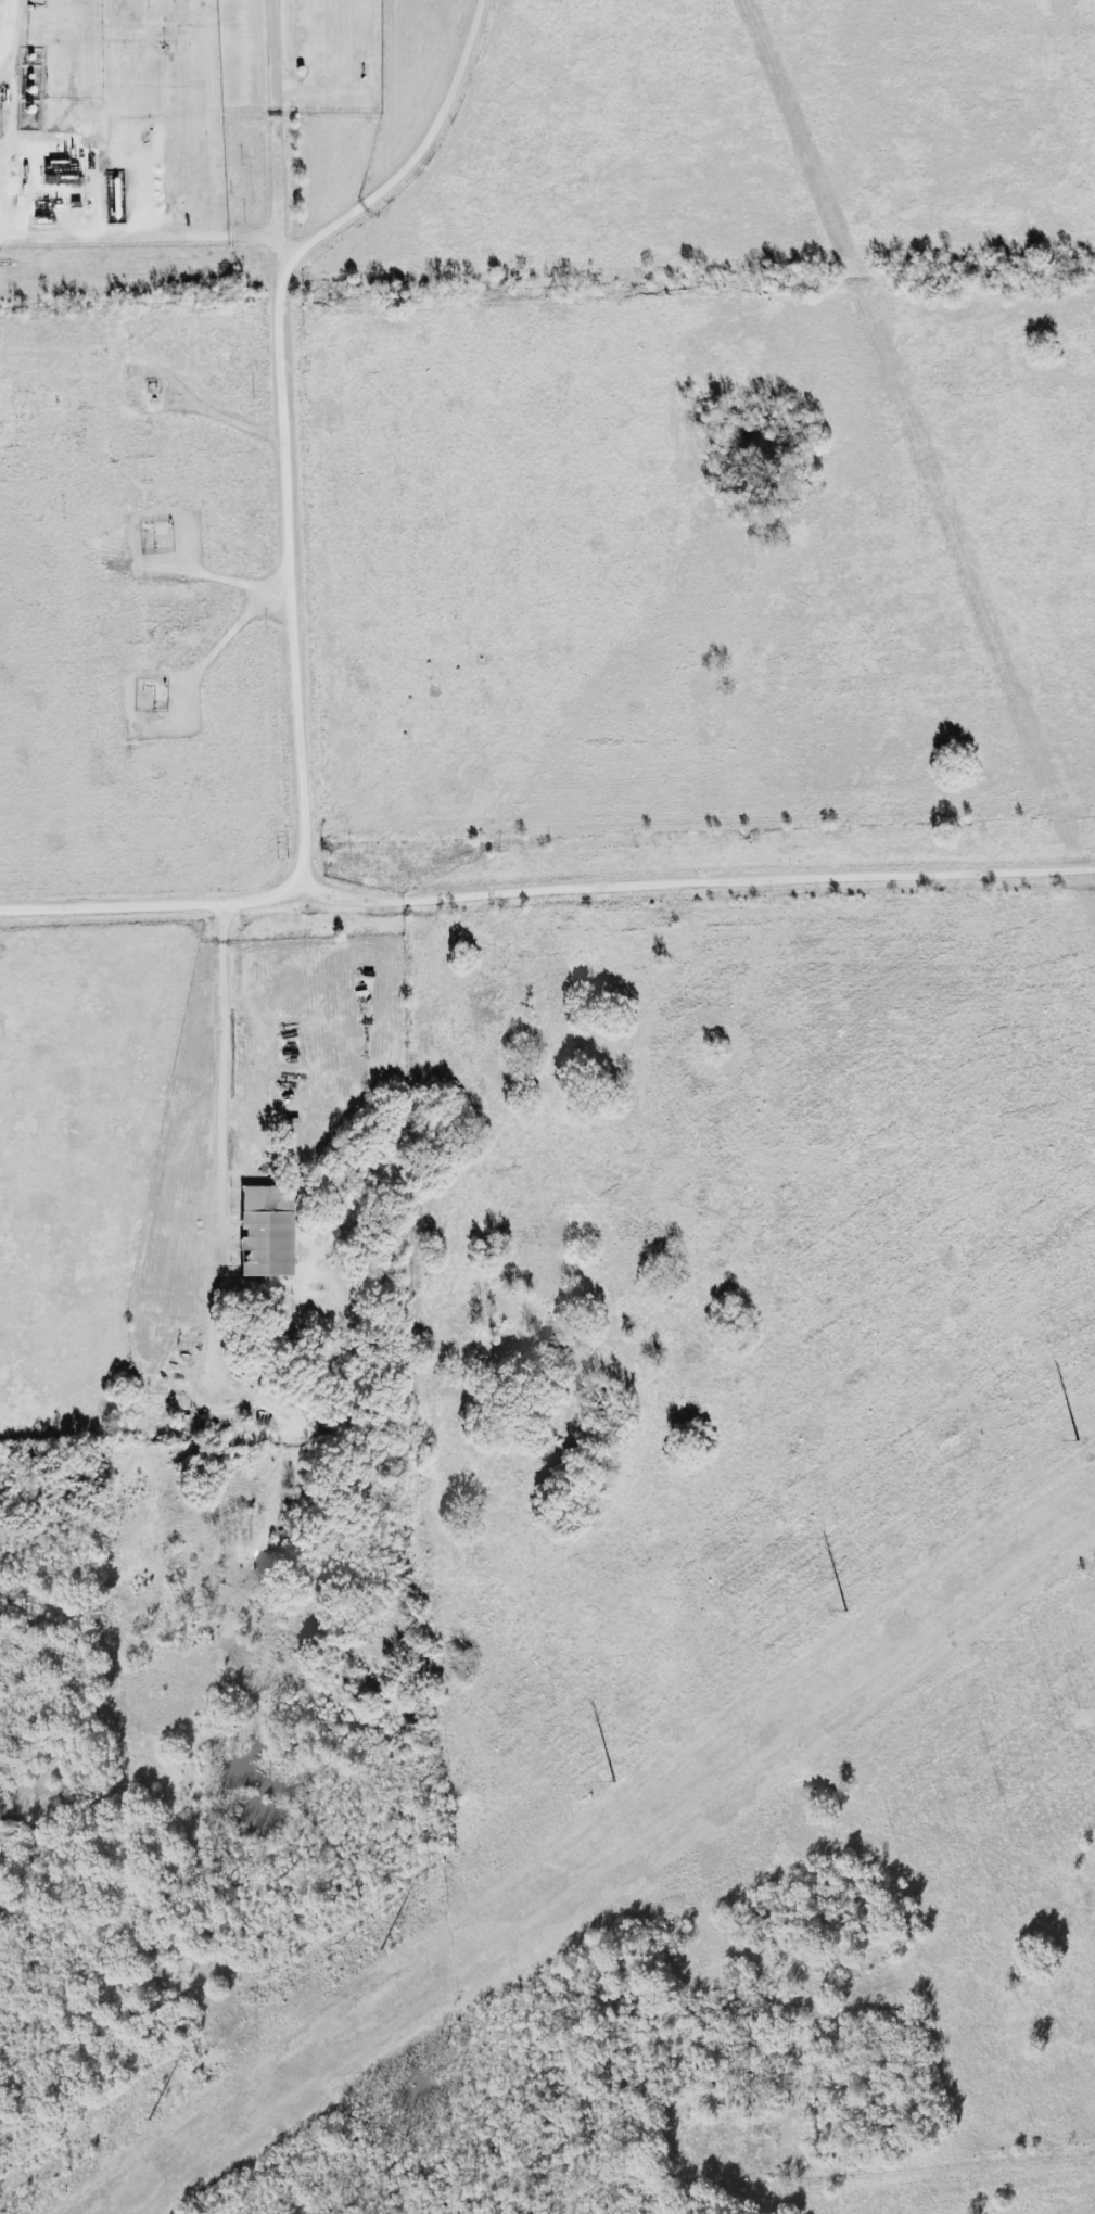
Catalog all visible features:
road: (11, 119)
road: (417, 153)
road: (142, 238)
road: (294, 591)
road: (695, 882)
road: (222, 1143)
building: (266, 1230)
road: (931, 2152)

